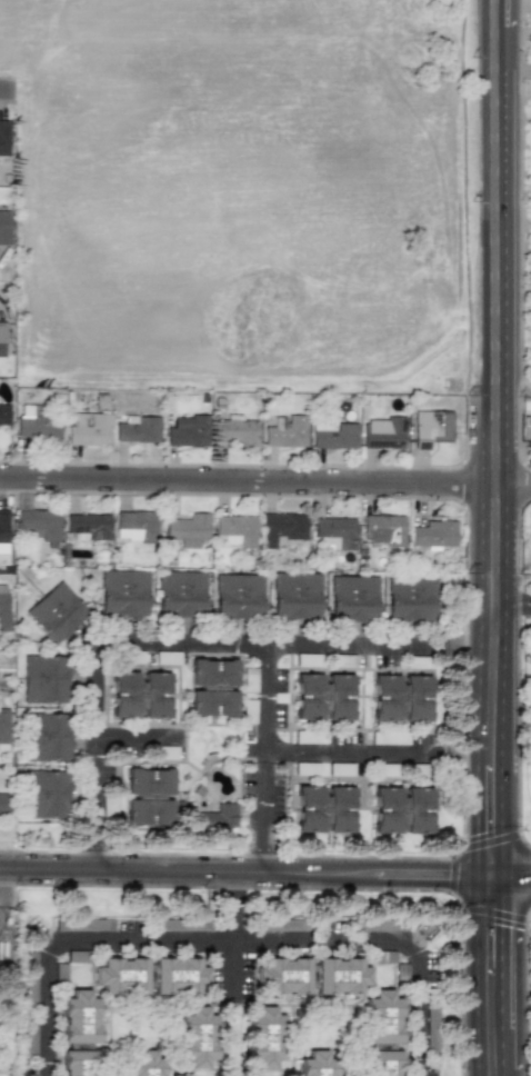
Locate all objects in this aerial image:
building: (530, 60)
road: (8, 87)
building: (3, 137)
building: (4, 227)
road: (493, 242)
building: (1, 339)
building: (3, 415)
building: (36, 426)
building: (430, 428)
building: (89, 429)
building: (138, 429)
building: (234, 430)
building: (188, 431)
building: (285, 431)
building: (530, 431)
building: (382, 432)
building: (332, 434)
road: (264, 481)
building: (136, 524)
building: (39, 525)
building: (88, 526)
building: (188, 529)
building: (283, 529)
building: (384, 529)
building: (2, 530)
building: (234, 531)
building: (334, 532)
building: (530, 532)
building: (433, 534)
building: (123, 596)
building: (182, 596)
building: (238, 599)
building: (298, 599)
building: (353, 599)
building: (411, 599)
road: (512, 605)
building: (3, 607)
building: (57, 616)
road: (172, 645)
road: (494, 680)
building: (43, 683)
building: (200, 687)
building: (139, 695)
building: (322, 697)
building: (400, 698)
road: (264, 701)
building: (3, 726)
building: (46, 738)
road: (137, 739)
road: (344, 750)
building: (43, 795)
building: (148, 796)
building: (2, 804)
building: (308, 808)
building: (338, 809)
building: (385, 809)
building: (415, 810)
road: (262, 816)
building: (217, 817)
road: (97, 855)
road: (48, 869)
road: (295, 873)
road: (513, 876)
road: (318, 888)
road: (230, 893)
road: (229, 943)
road: (231, 954)
building: (121, 975)
building: (179, 976)
building: (282, 976)
building: (340, 976)
road: (495, 976)
road: (527, 990)
building: (79, 1017)
building: (382, 1017)
building: (264, 1037)
road: (300, 1048)
building: (79, 1063)
building: (382, 1063)
building: (144, 1064)
building: (318, 1064)
road: (234, 1069)

